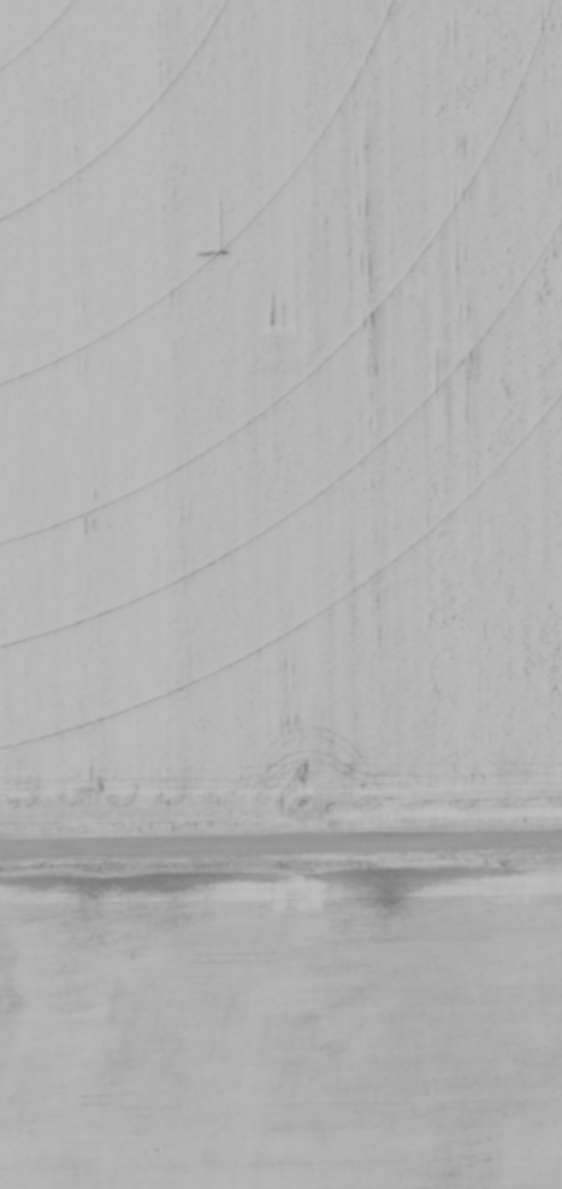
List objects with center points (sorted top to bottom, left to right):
road: (280, 852)

